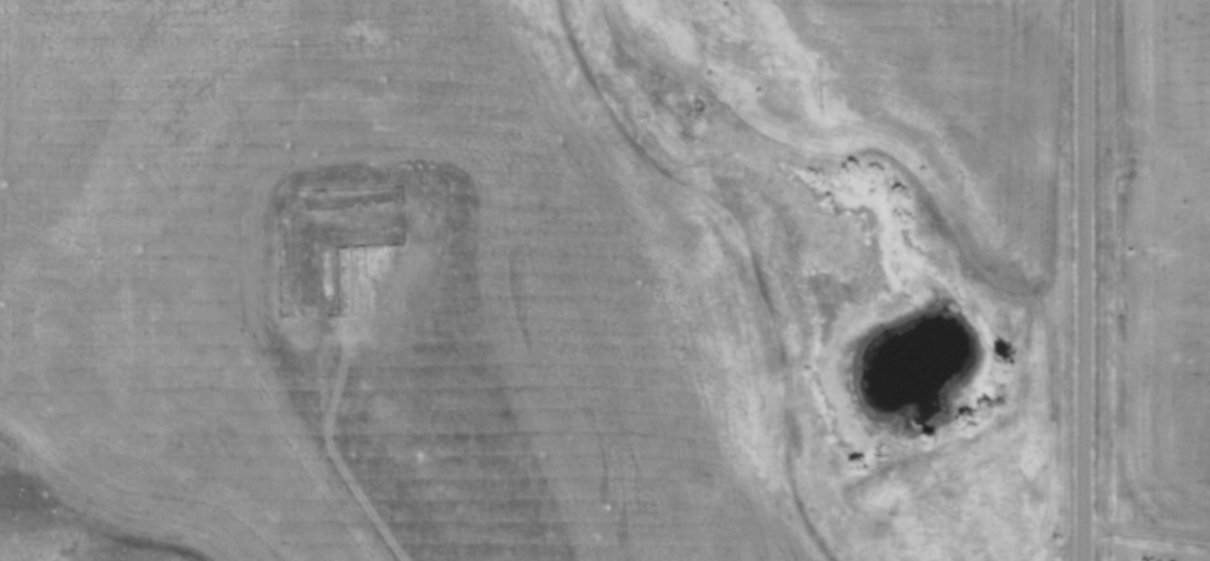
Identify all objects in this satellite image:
road: (1074, 280)

